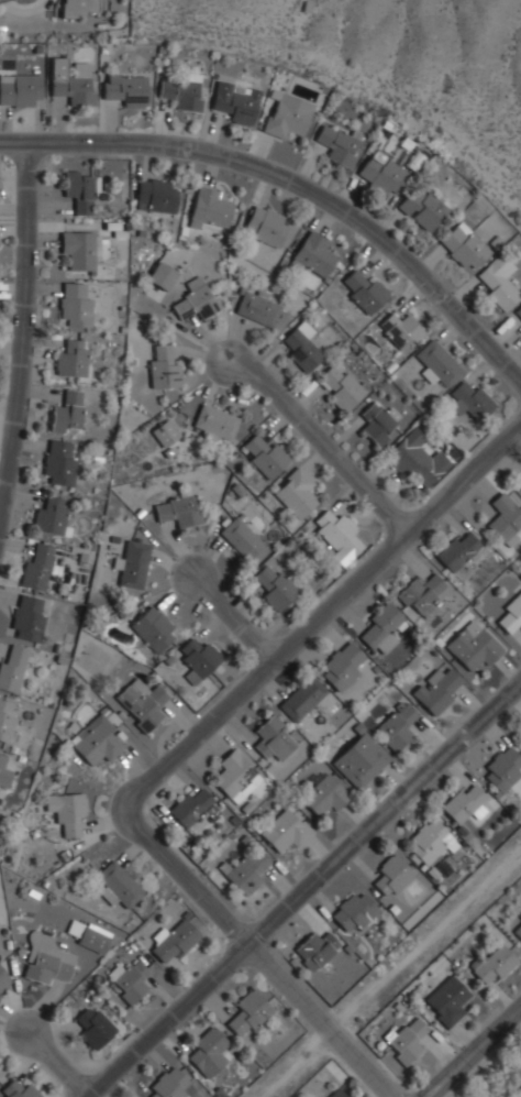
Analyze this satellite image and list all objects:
building: (520, 2)
building: (81, 8)
building: (71, 79)
building: (125, 87)
building: (21, 89)
building: (181, 91)
building: (236, 101)
building: (288, 114)
building: (337, 144)
building: (381, 175)
road: (301, 177)
building: (79, 190)
building: (157, 195)
building: (209, 206)
building: (423, 209)
building: (265, 224)
building: (464, 245)
building: (81, 246)
building: (313, 254)
building: (162, 275)
building: (498, 281)
building: (362, 290)
building: (197, 298)
building: (75, 303)
building: (259, 306)
building: (519, 310)
road: (22, 323)
building: (400, 330)
building: (301, 347)
building: (73, 358)
building: (437, 363)
building: (163, 366)
building: (342, 386)
building: (472, 399)
building: (68, 413)
building: (215, 423)
building: (377, 423)
building: (165, 432)
road: (325, 440)
building: (265, 456)
building: (417, 457)
building: (59, 462)
building: (520, 486)
building: (296, 492)
building: (177, 509)
building: (51, 515)
building: (505, 519)
building: (339, 536)
building: (242, 539)
building: (457, 550)
building: (133, 564)
building: (36, 566)
building: (275, 585)
building: (421, 593)
building: (510, 613)
road: (321, 615)
building: (27, 617)
road: (235, 619)
building: (153, 628)
building: (380, 628)
building: (474, 646)
building: (198, 659)
building: (343, 666)
building: (12, 667)
building: (439, 690)
building: (302, 699)
building: (142, 703)
building: (5, 720)
building: (396, 725)
building: (273, 737)
building: (98, 742)
building: (361, 760)
building: (503, 767)
building: (4, 771)
building: (235, 776)
building: (325, 793)
building: (465, 804)
building: (192, 807)
building: (66, 811)
building: (287, 830)
building: (430, 841)
building: (245, 871)
building: (391, 877)
building: (117, 885)
road: (303, 887)
building: (354, 911)
building: (517, 928)
building: (87, 936)
building: (175, 940)
road: (262, 950)
building: (315, 950)
building: (495, 963)
building: (47, 964)
building: (3, 979)
building: (128, 980)
building: (447, 1000)
building: (247, 1012)
building: (95, 1027)
building: (407, 1040)
road: (474, 1052)
building: (208, 1053)
road: (55, 1063)
building: (169, 1085)
building: (19, 1089)
building: (517, 1093)
building: (336, 1094)

